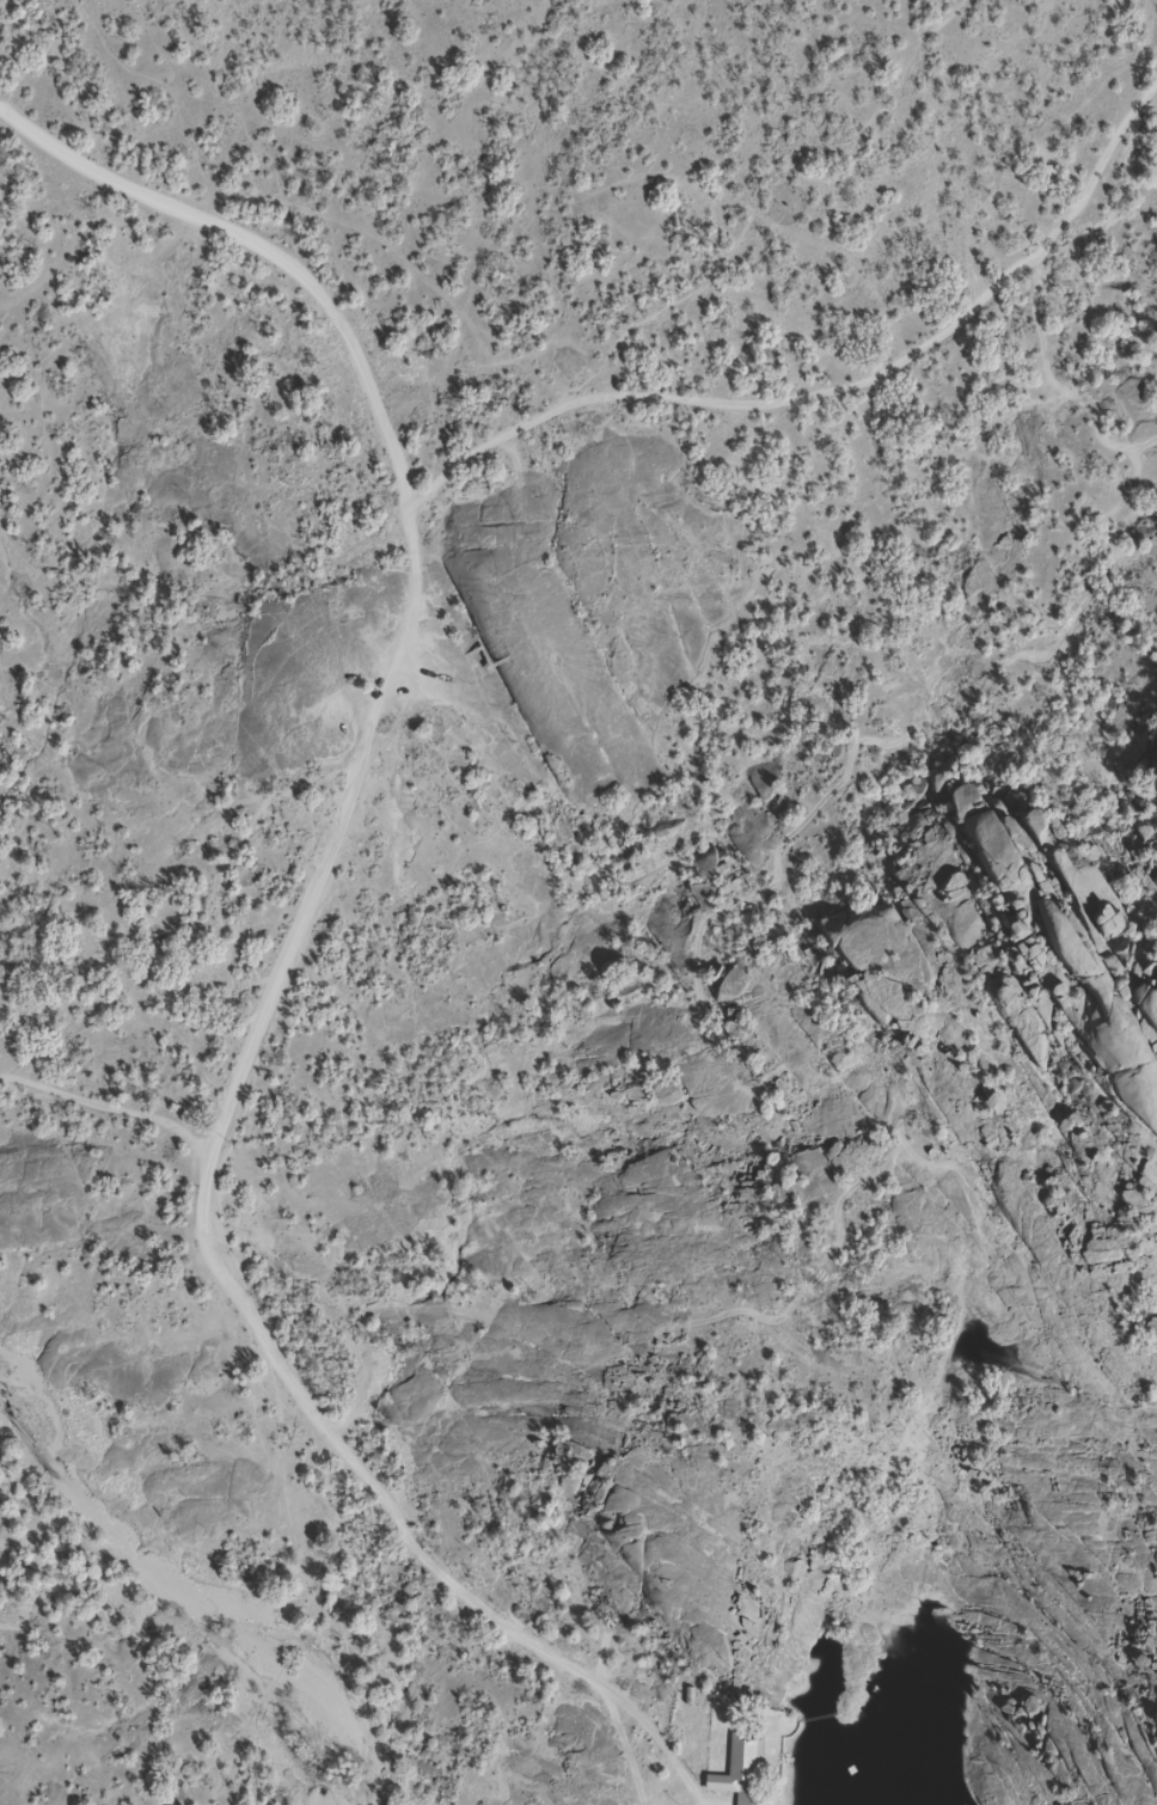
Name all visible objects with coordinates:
road: (126, 191)
road: (925, 349)
road: (486, 446)
building: (1147, 1008)
road: (238, 1088)
building: (740, 1770)

